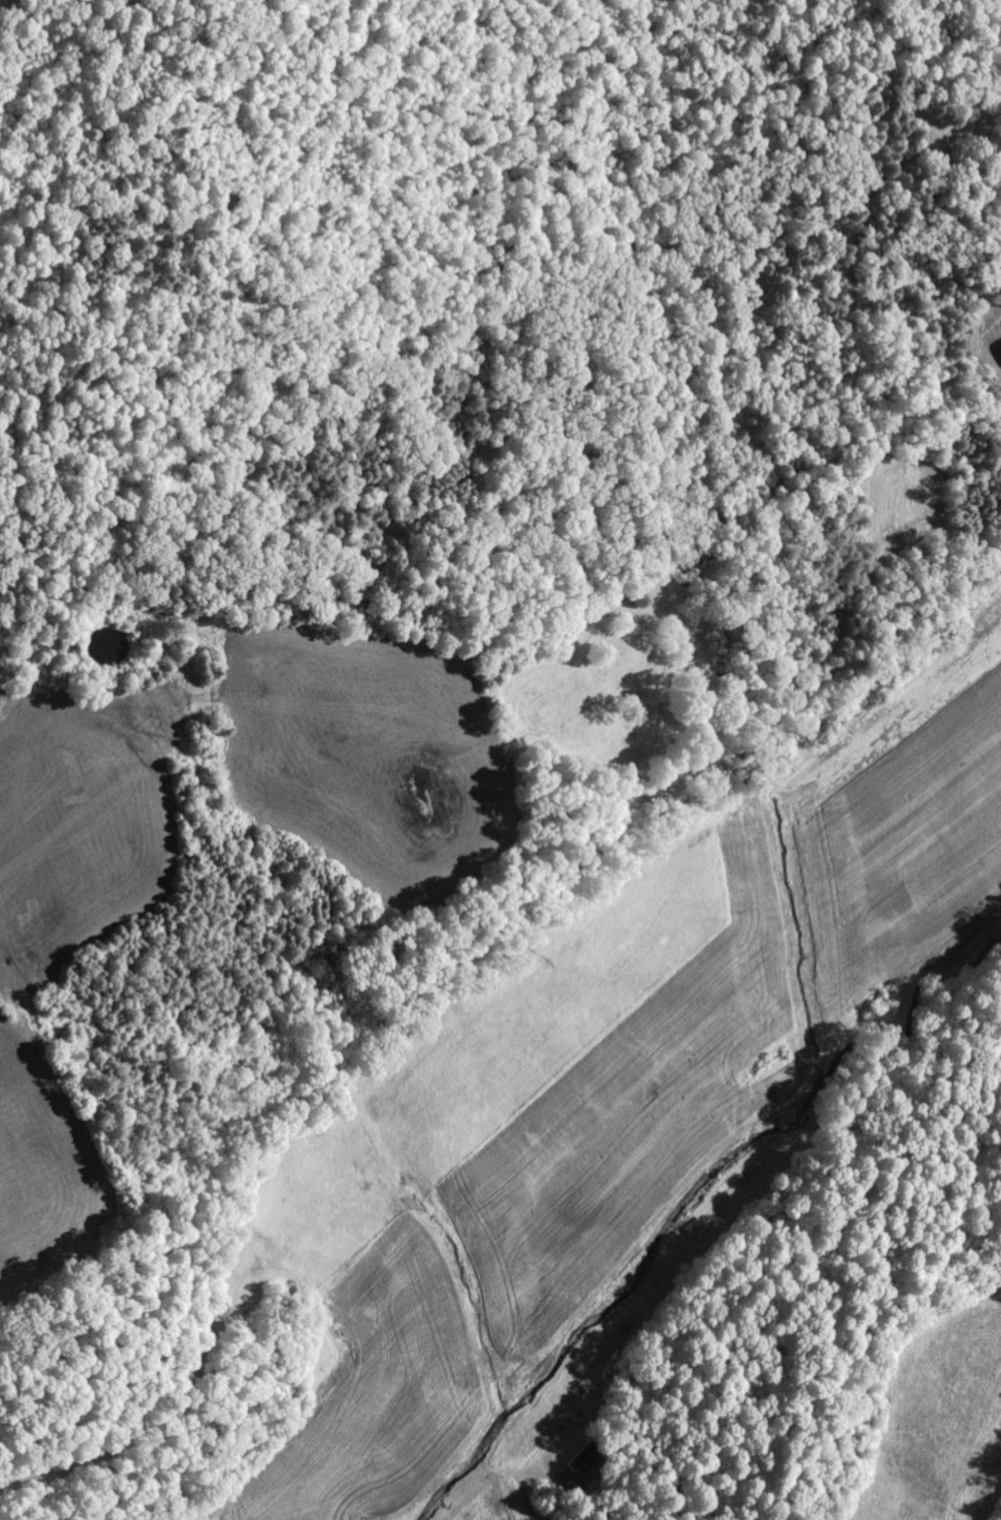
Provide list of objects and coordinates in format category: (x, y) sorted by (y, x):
building: (582, 1458)

